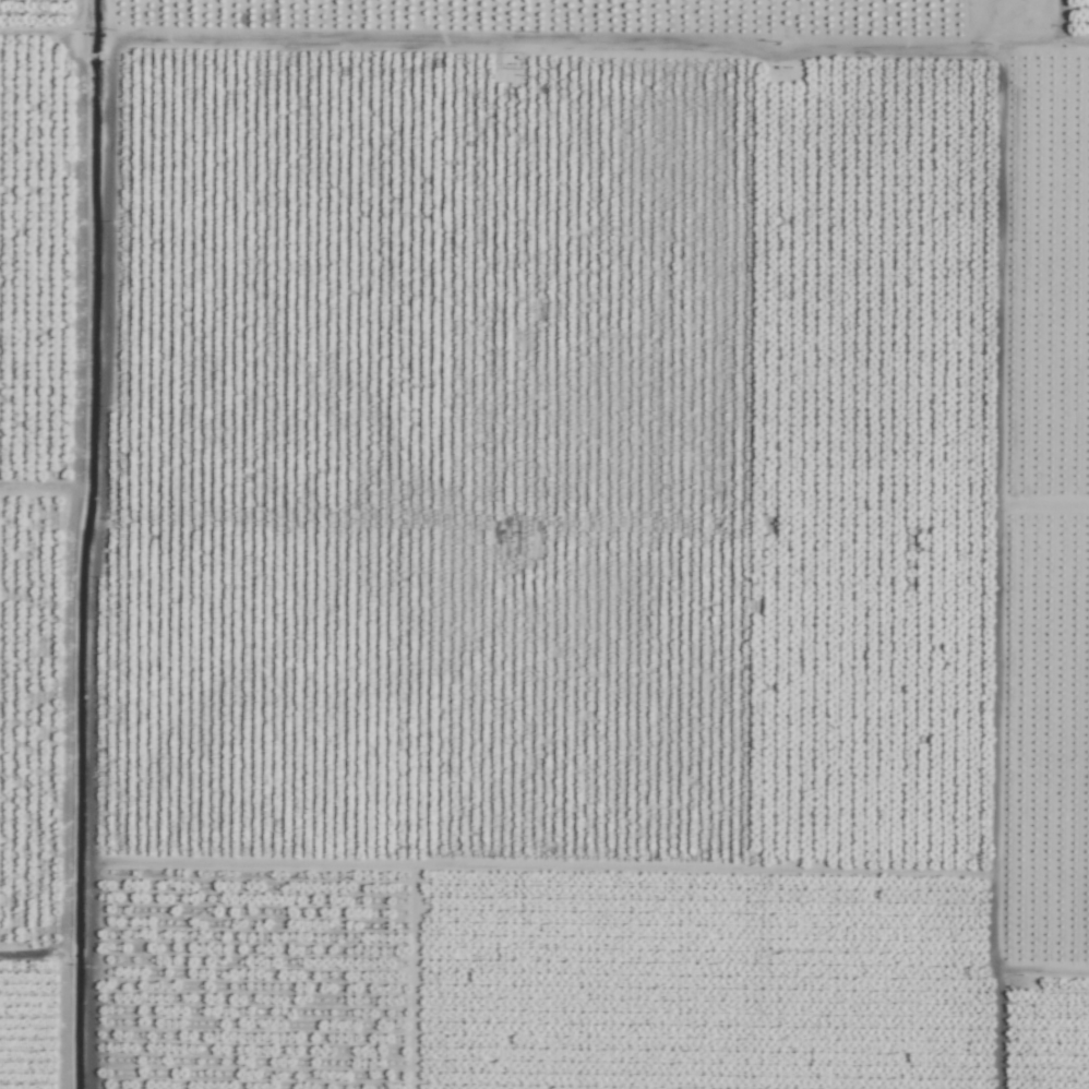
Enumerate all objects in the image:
road: (993, 58)

